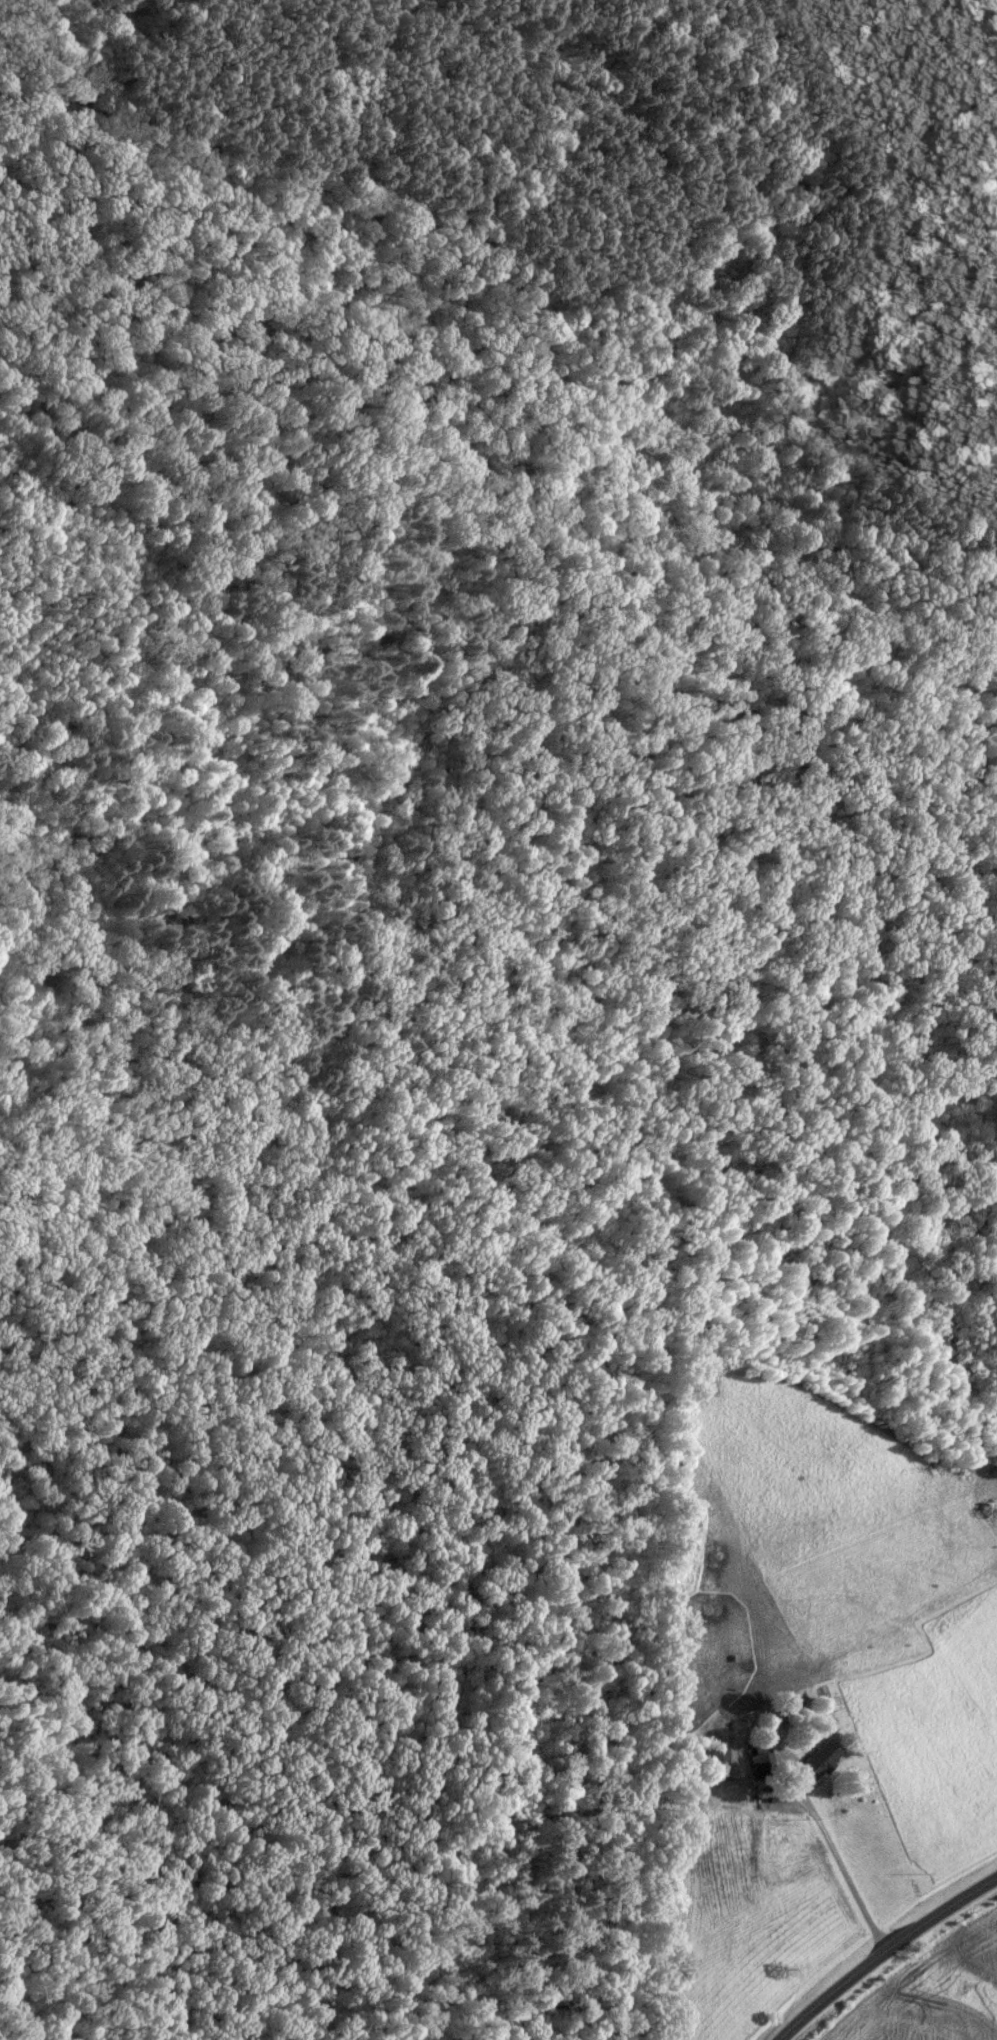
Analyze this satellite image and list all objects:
building: (817, 1760)
building: (758, 1762)
road: (883, 1951)

